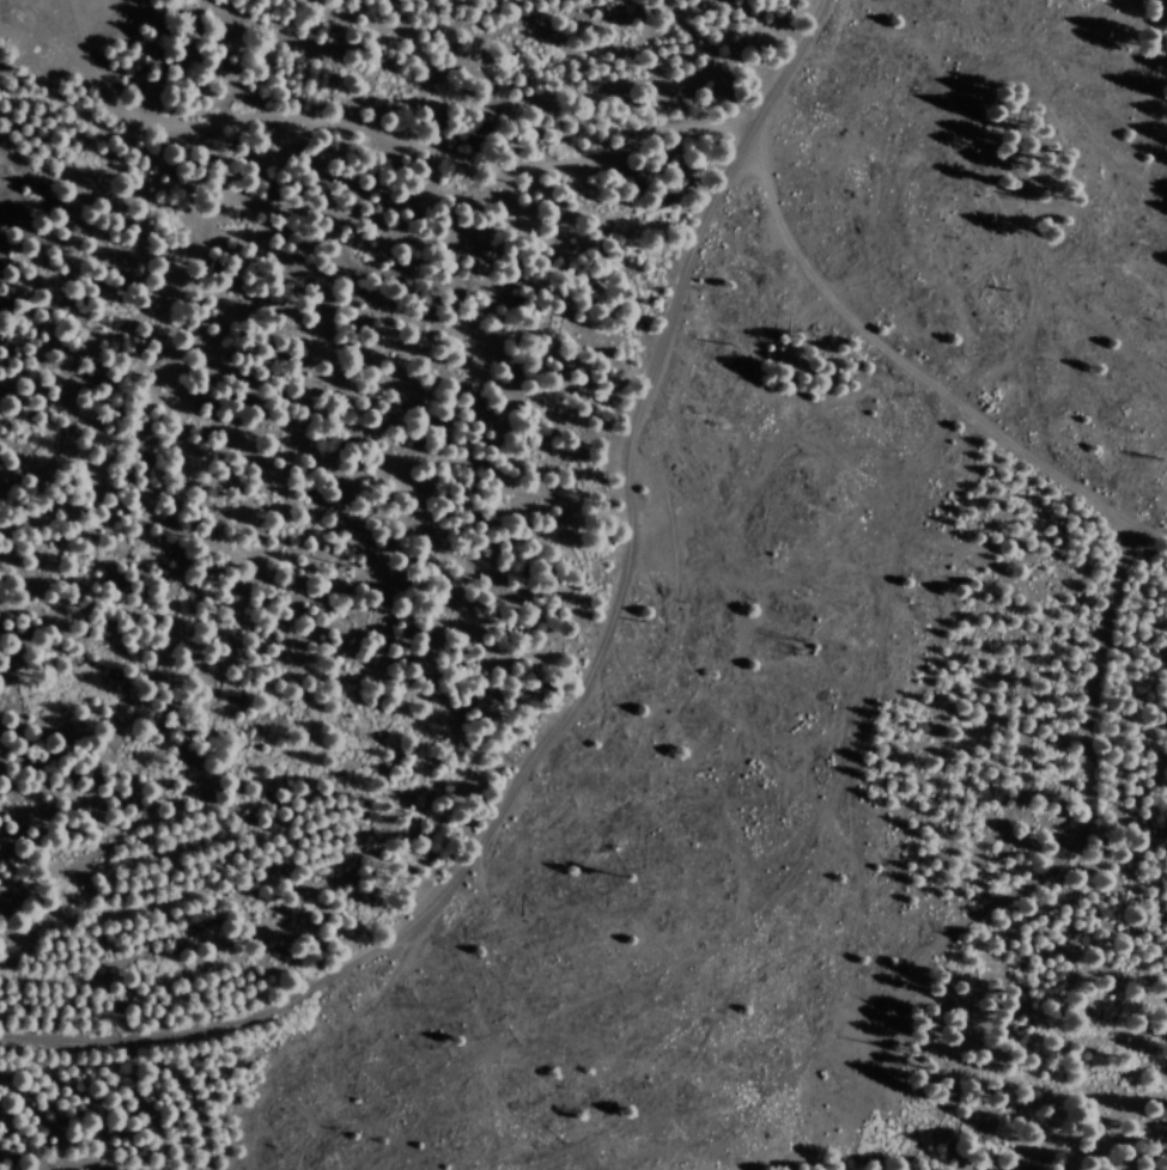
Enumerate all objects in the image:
road: (664, 148)
road: (598, 693)

